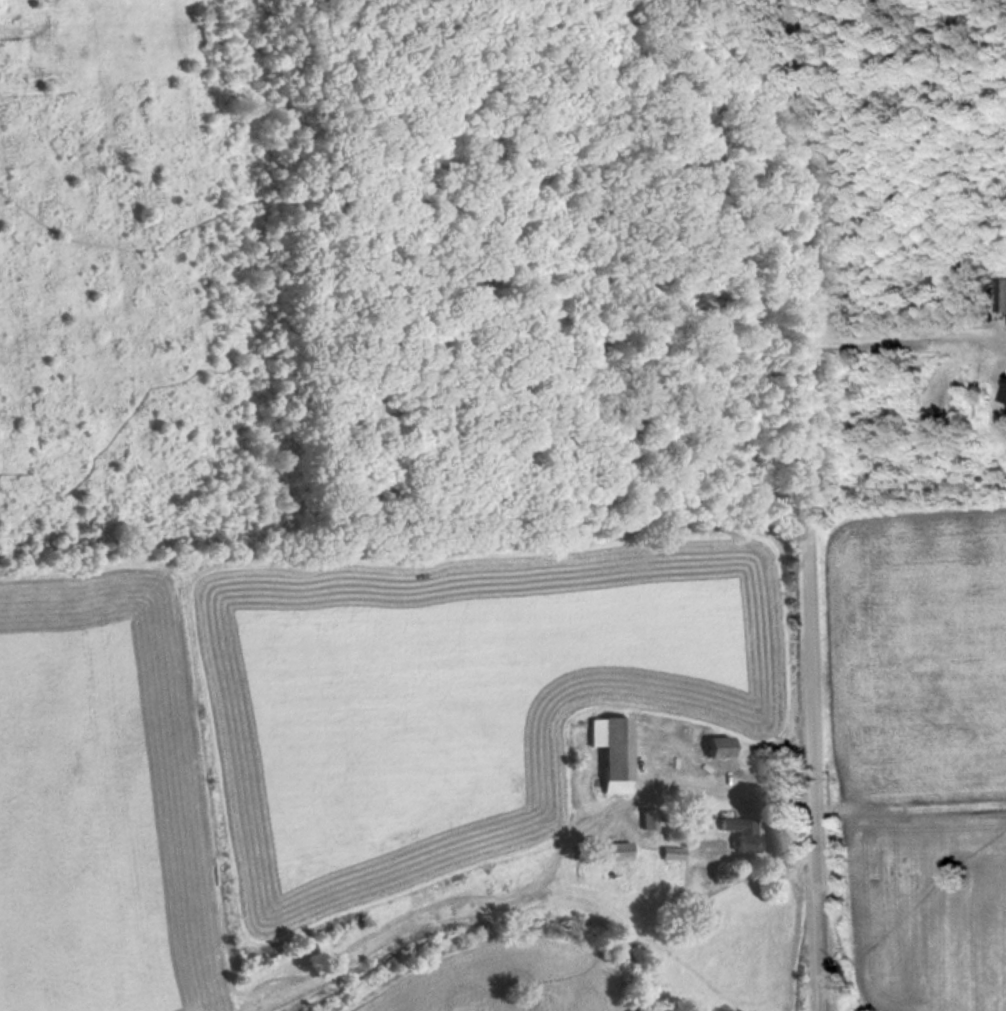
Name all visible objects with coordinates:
road: (903, 325)
building: (1005, 397)
road: (802, 444)
building: (722, 747)
building: (615, 751)
building: (744, 833)
building: (613, 852)
road: (818, 950)

